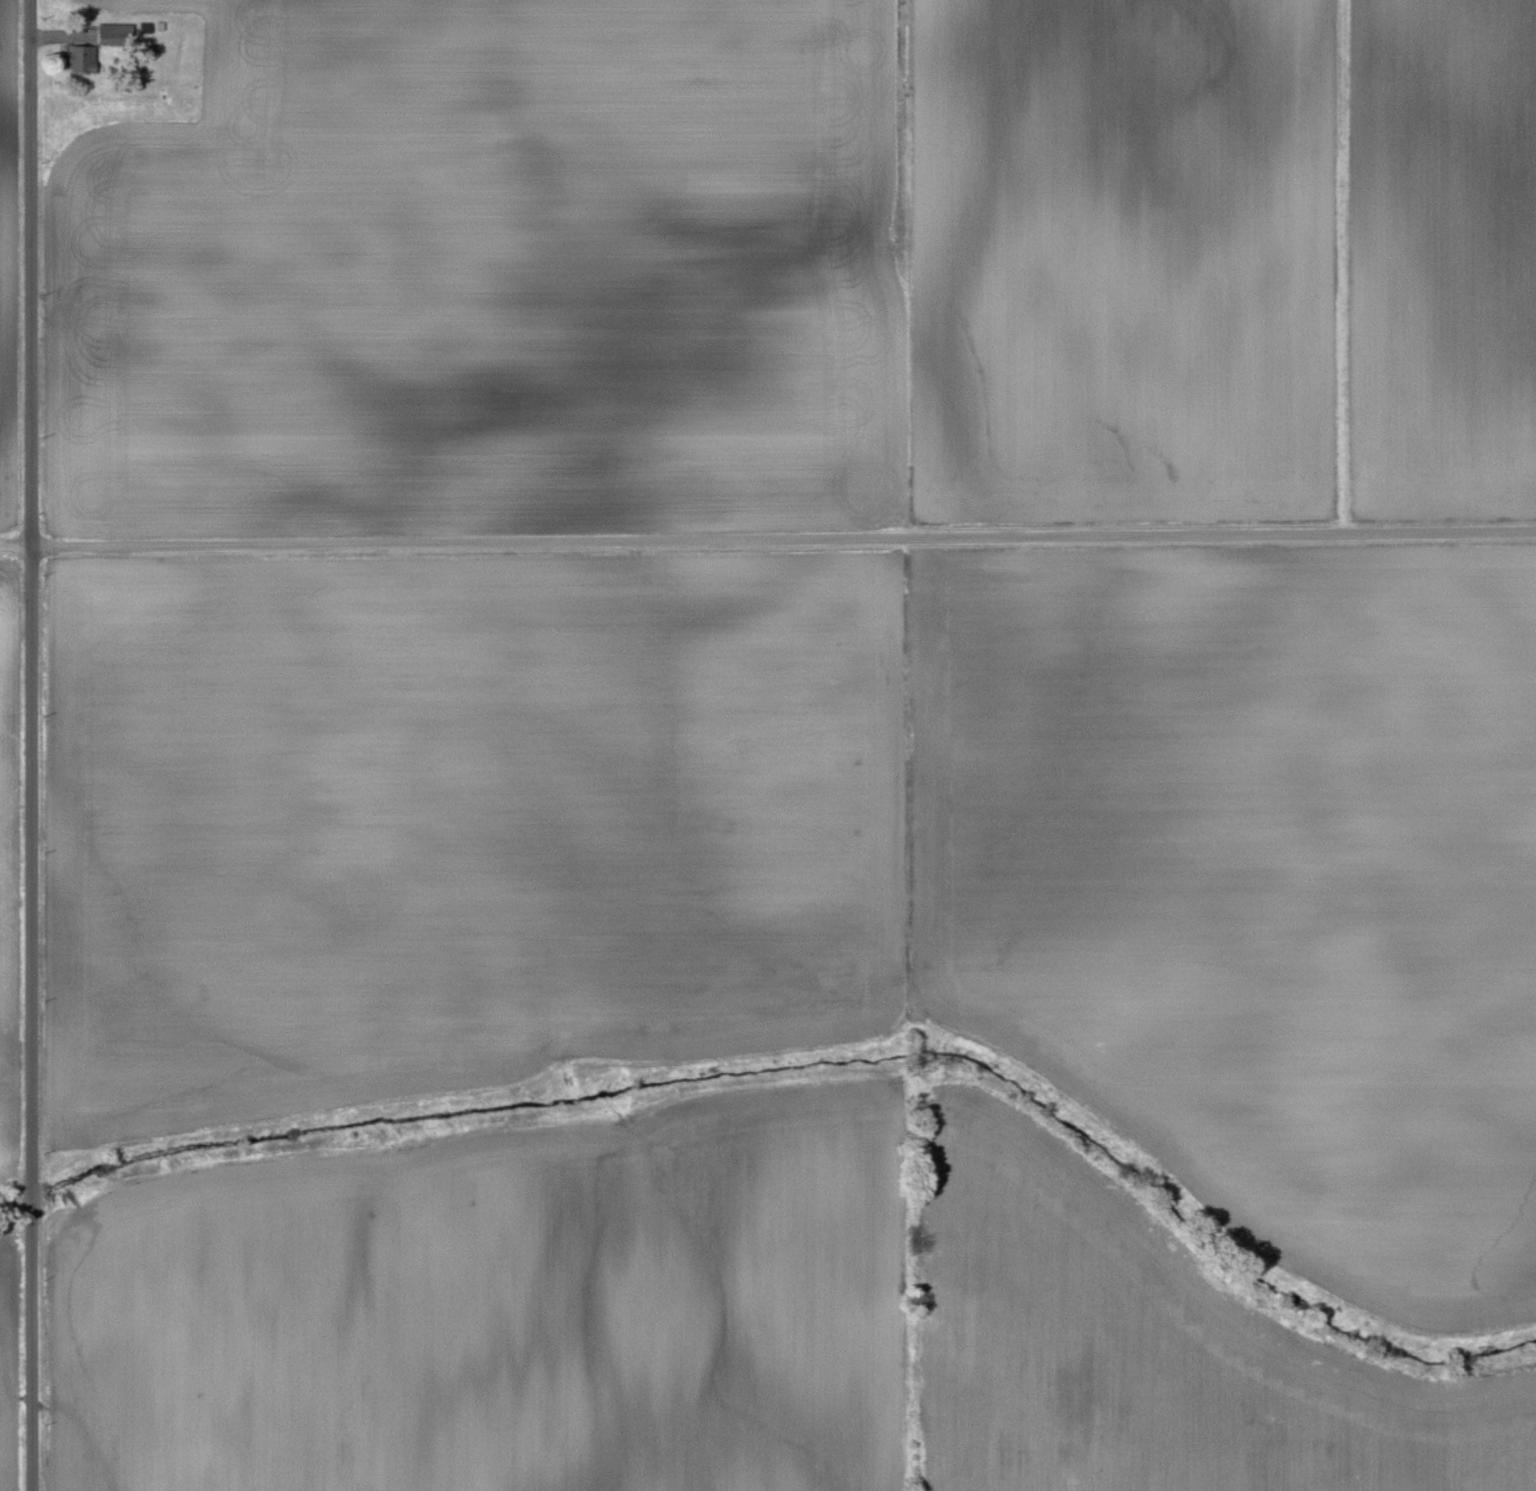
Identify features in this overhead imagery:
building: (79, 58)
road: (768, 539)
road: (25, 745)

